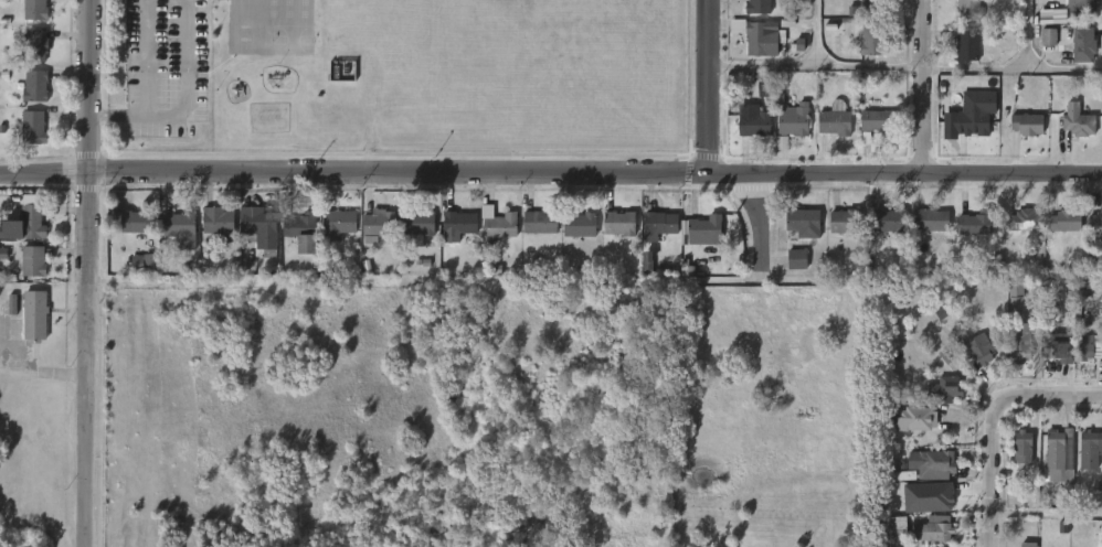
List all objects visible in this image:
building: (870, 4)
building: (756, 6)
building: (860, 9)
building: (968, 9)
building: (1080, 9)
building: (35, 10)
road: (819, 29)
road: (1026, 34)
building: (753, 35)
building: (869, 37)
building: (966, 43)
building: (1087, 44)
building: (36, 46)
building: (1042, 49)
building: (862, 50)
building: (754, 52)
building: (961, 57)
building: (1077, 57)
road: (815, 58)
parking lot: (163, 67)
road: (1013, 68)
building: (33, 86)
road: (706, 87)
road: (924, 87)
road: (184, 106)
building: (793, 119)
building: (834, 119)
building: (1077, 120)
building: (876, 121)
building: (973, 122)
building: (753, 124)
building: (1026, 124)
building: (34, 126)
building: (787, 131)
building: (868, 131)
building: (1071, 132)
building: (827, 135)
building: (748, 136)
building: (1019, 136)
building: (27, 139)
road: (551, 174)
building: (136, 218)
building: (1025, 218)
building: (539, 219)
building: (889, 219)
building: (929, 219)
building: (1066, 219)
building: (215, 221)
building: (843, 221)
building: (1094, 221)
building: (378, 222)
building: (417, 222)
building: (462, 222)
building: (616, 222)
building: (802, 222)
building: (580, 223)
building: (975, 223)
building: (25, 224)
building: (336, 224)
building: (657, 224)
road: (759, 225)
building: (498, 226)
building: (178, 227)
building: (304, 229)
building: (703, 229)
building: (253, 230)
building: (882, 232)
building: (924, 232)
building: (1017, 232)
building: (836, 233)
building: (128, 234)
building: (454, 234)
building: (533, 234)
building: (797, 234)
building: (1058, 234)
building: (373, 235)
building: (412, 235)
building: (612, 235)
building: (331, 236)
building: (573, 236)
building: (968, 236)
building: (653, 237)
building: (699, 242)
building: (296, 243)
building: (8, 244)
building: (34, 260)
building: (639, 269)
building: (791, 270)
building: (27, 272)
road: (86, 272)
building: (137, 275)
building: (1009, 309)
building: (35, 314)
building: (1019, 343)
building: (1071, 347)
building: (976, 350)
building: (971, 360)
building: (1055, 360)
building: (944, 388)
building: (937, 401)
building: (915, 419)
road: (998, 420)
building: (910, 430)
building: (1021, 447)
building: (1060, 449)
building: (1088, 450)
building: (931, 462)
building: (1016, 462)
building: (1082, 462)
building: (1050, 471)
building: (937, 495)
building: (932, 506)
building: (932, 529)
road: (994, 541)

